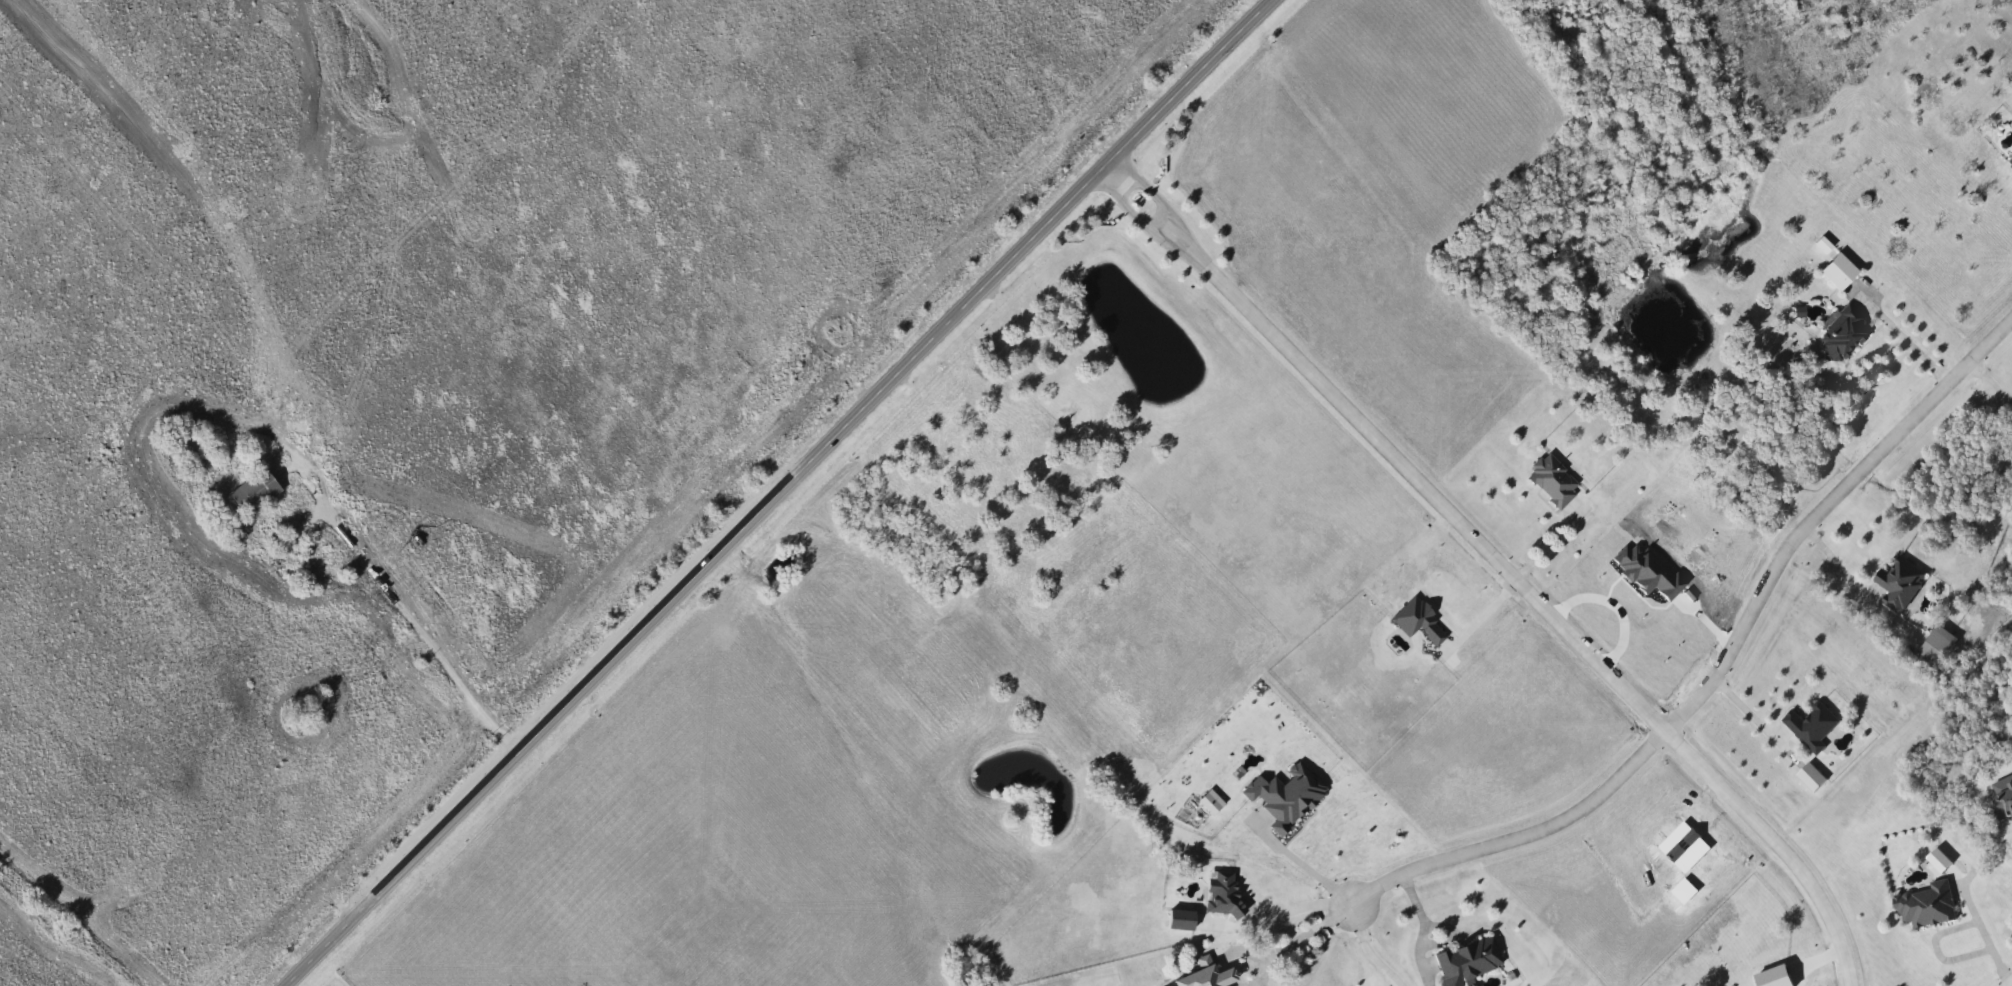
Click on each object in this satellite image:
road: (1150, 188)
road: (1128, 209)
building: (1847, 336)
road: (1907, 339)
road: (1068, 362)
road: (1992, 388)
building: (1558, 481)
road: (770, 490)
building: (262, 492)
road: (1821, 513)
road: (1548, 542)
road: (1834, 565)
building: (1897, 582)
road: (1531, 595)
road: (398, 615)
road: (1654, 638)
building: (1934, 646)
building: (1809, 727)
building: (2002, 794)
road: (1522, 836)
road: (1313, 875)
building: (1924, 905)
road: (1288, 913)
road: (1427, 929)
road: (1986, 936)
road: (1302, 938)
building: (1472, 962)
building: (1214, 978)

